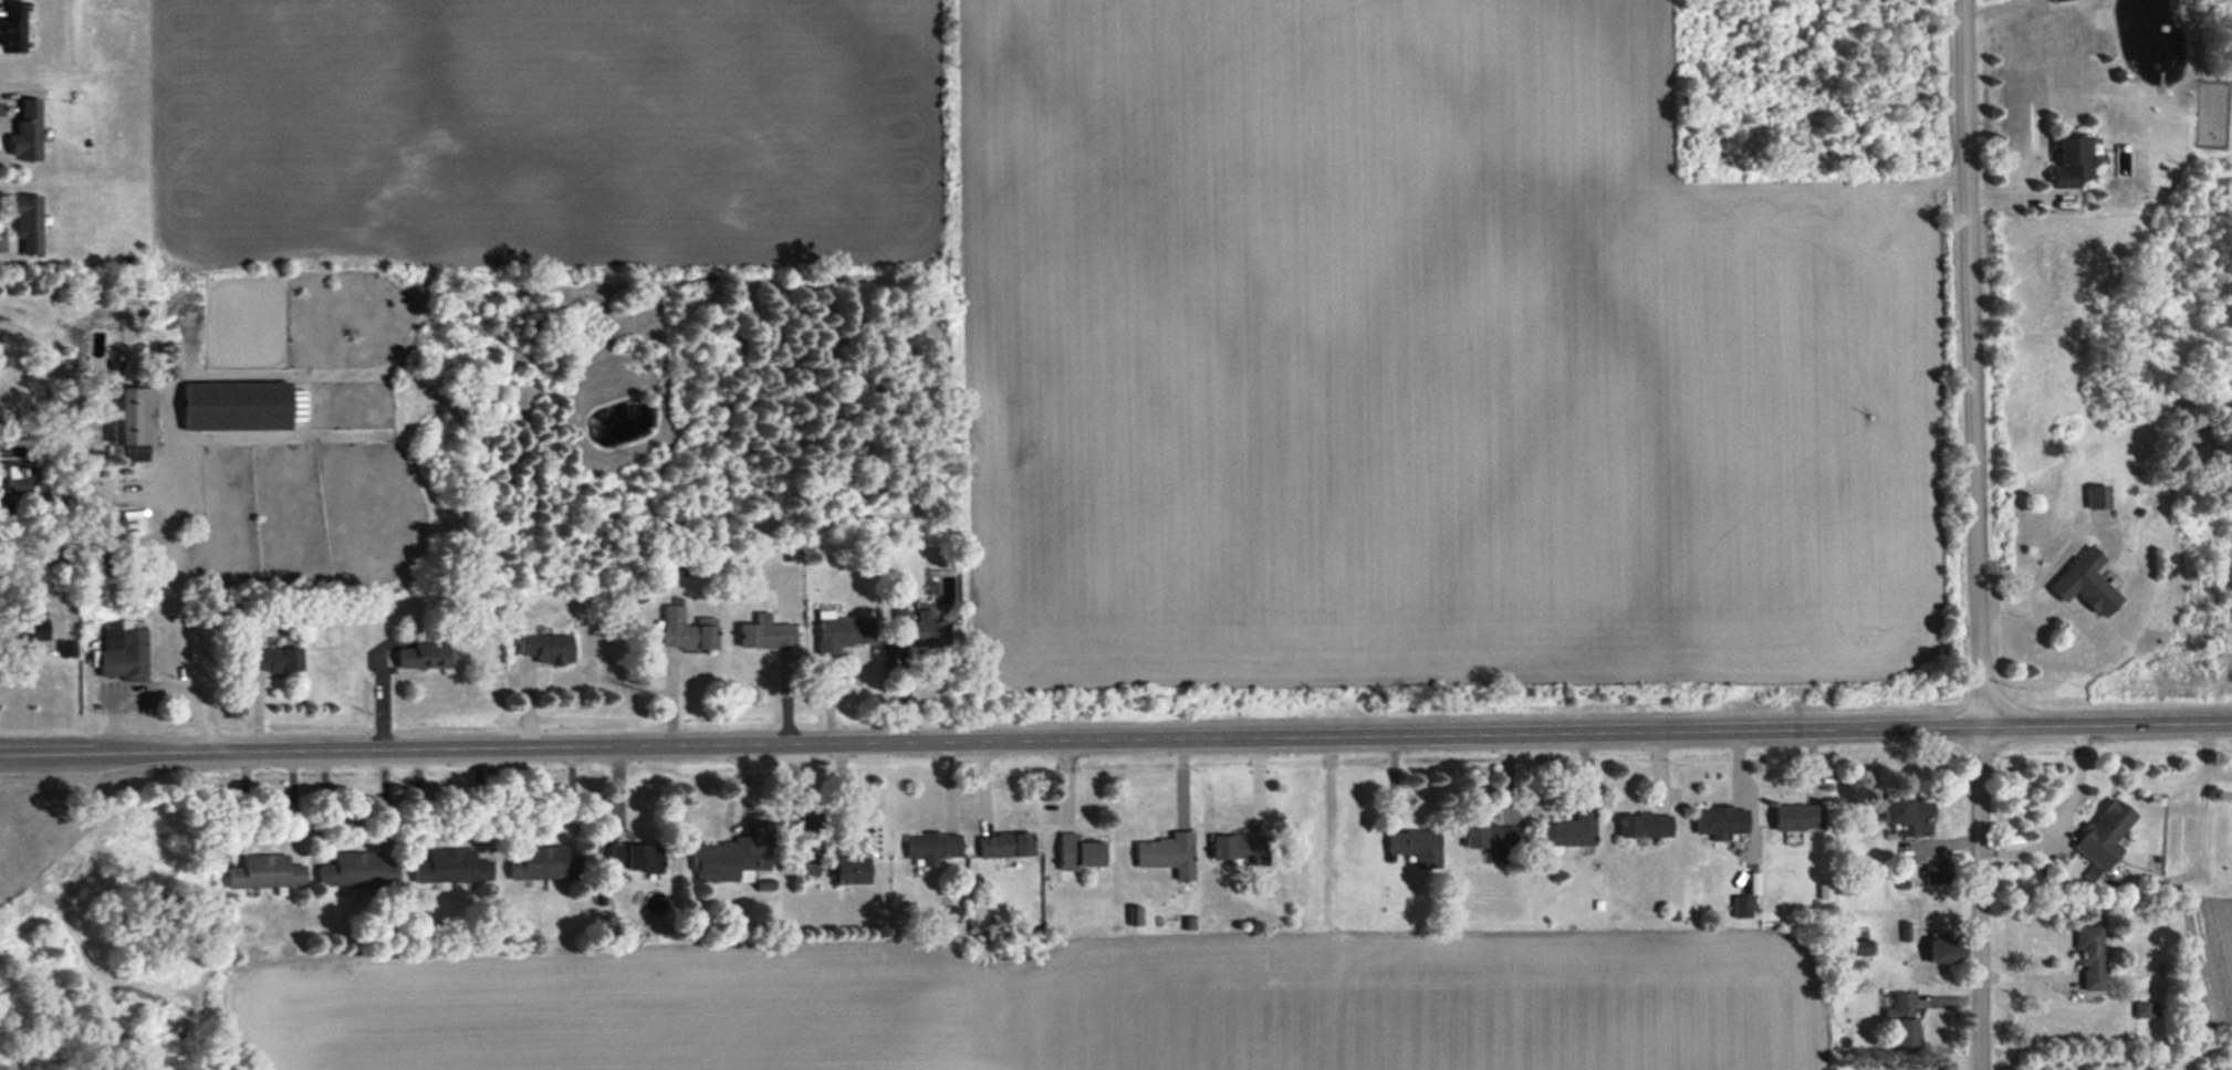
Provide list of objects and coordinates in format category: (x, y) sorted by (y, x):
building: (13, 28)
building: (27, 132)
building: (2069, 160)
building: (28, 222)
crop: (1206, 300)
building: (166, 361)
road: (66, 400)
building: (236, 406)
building: (296, 406)
building: (133, 421)
building: (12, 475)
building: (2098, 496)
road: (1974, 534)
building: (2085, 583)
building: (35, 626)
building: (687, 630)
building: (764, 633)
building: (843, 633)
building: (911, 634)
building: (546, 648)
building: (67, 649)
building: (123, 651)
building: (423, 655)
building: (274, 660)
road: (158, 695)
road: (1115, 737)
road: (2204, 756)
road: (2058, 814)
building: (1906, 816)
building: (1796, 817)
building: (1720, 821)
building: (1644, 825)
building: (1568, 831)
building: (1488, 836)
building: (2100, 838)
building: (1005, 845)
building: (932, 847)
building: (1238, 847)
building: (1415, 847)
building: (1077, 852)
building: (1167, 853)
building: (635, 857)
building: (732, 857)
building: (805, 857)
road: (2197, 859)
building: (542, 863)
building: (451, 867)
building: (357, 870)
building: (851, 870)
building: (264, 872)
building: (1741, 906)
building: (1858, 947)
building: (1943, 950)
building: (2088, 955)
building: (2142, 1009)
building: (1900, 1019)

